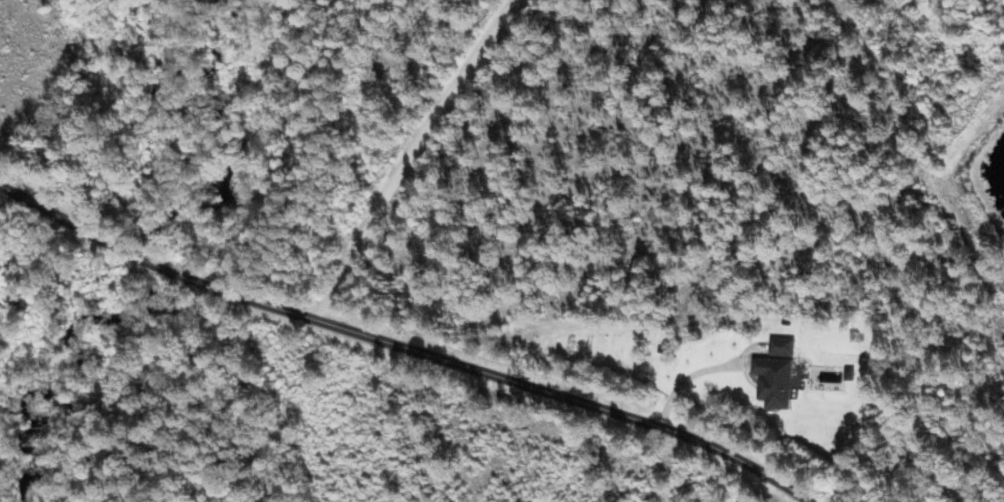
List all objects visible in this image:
building: (778, 345)
road: (402, 347)

